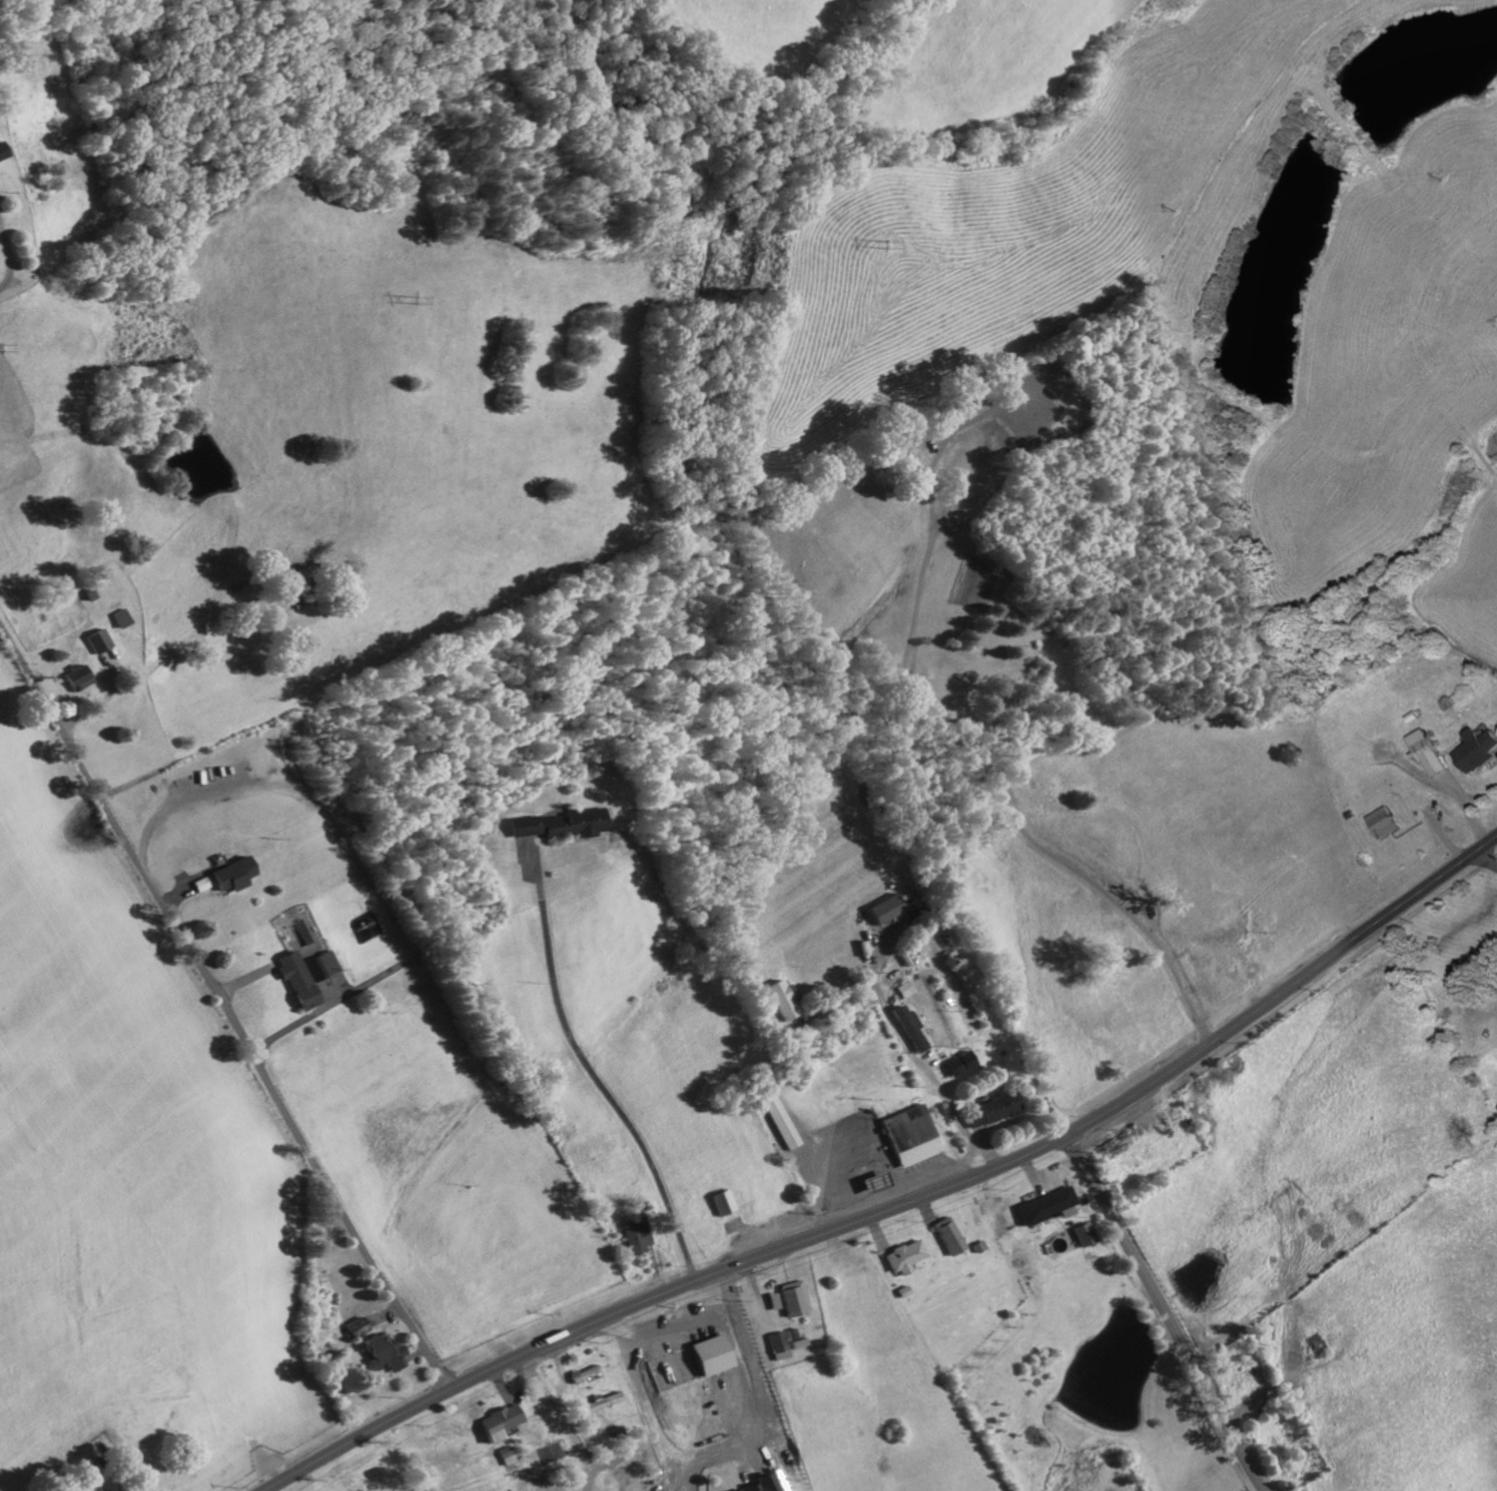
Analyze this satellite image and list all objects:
road: (3, 265)
building: (112, 620)
building: (89, 643)
building: (69, 680)
building: (1479, 752)
building: (1430, 753)
road: (1005, 808)
road: (1469, 809)
building: (1387, 824)
building: (550, 827)
road: (1489, 858)
building: (226, 875)
building: (881, 911)
building: (315, 967)
building: (288, 981)
building: (899, 991)
building: (782, 1000)
road: (223, 1015)
building: (903, 1030)
building: (953, 1065)
road: (590, 1071)
building: (987, 1111)
building: (776, 1121)
building: (904, 1137)
road: (854, 1158)
building: (719, 1203)
road: (902, 1204)
building: (1042, 1207)
building: (1080, 1235)
building: (630, 1237)
building: (944, 1237)
building: (901, 1258)
building: (791, 1299)
building: (770, 1302)
road: (1162, 1312)
building: (355, 1329)
building: (790, 1335)
building: (797, 1344)
building: (776, 1347)
building: (380, 1353)
building: (701, 1358)
building: (582, 1376)
building: (600, 1403)
building: (495, 1423)
building: (758, 1484)

